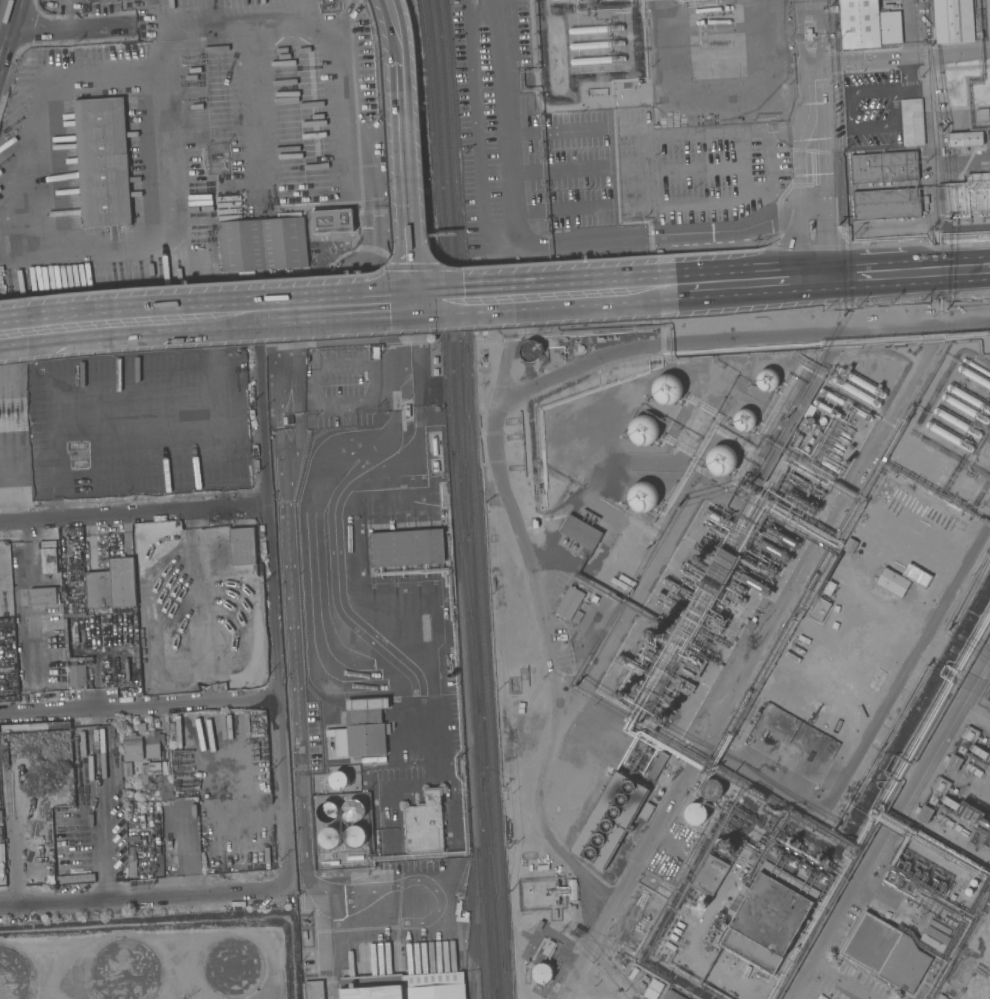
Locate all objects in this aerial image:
building: (610, 0)
building: (107, 1)
road: (1, 5)
building: (953, 21)
building: (867, 24)
road: (150, 25)
building: (595, 29)
road: (907, 29)
road: (801, 32)
road: (820, 32)
building: (808, 34)
building: (596, 44)
road: (397, 54)
road: (900, 58)
building: (597, 60)
road: (352, 83)
road: (812, 84)
road: (251, 97)
building: (99, 105)
building: (982, 114)
road: (497, 118)
building: (911, 122)
building: (965, 139)
building: (883, 167)
building: (103, 169)
road: (832, 190)
road: (799, 191)
building: (969, 195)
building: (886, 203)
road: (409, 208)
building: (331, 219)
road: (674, 234)
building: (261, 244)
road: (63, 252)
road: (831, 277)
road: (545, 297)
traffic signals: (416, 306)
road: (292, 311)
road: (84, 326)
building: (579, 348)
building: (529, 351)
road: (216, 358)
building: (518, 368)
building: (973, 372)
building: (766, 379)
building: (859, 387)
building: (666, 389)
building: (831, 396)
building: (965, 403)
building: (826, 408)
building: (808, 412)
building: (860, 412)
building: (437, 415)
building: (744, 420)
building: (821, 420)
building: (811, 421)
building: (413, 422)
building: (848, 428)
building: (953, 429)
building: (643, 430)
building: (816, 430)
building: (845, 435)
building: (843, 439)
railway: (467, 440)
building: (810, 440)
building: (796, 442)
building: (434, 446)
building: (839, 446)
building: (805, 449)
building: (836, 450)
building: (834, 455)
building: (841, 457)
building: (720, 459)
building: (845, 462)
building: (435, 466)
building: (829, 466)
building: (797, 478)
railway: (457, 490)
railway: (466, 495)
building: (641, 496)
railway: (475, 499)
building: (801, 502)
road: (135, 512)
building: (717, 517)
building: (580, 532)
building: (781, 536)
building: (925, 544)
building: (850, 545)
building: (242, 546)
building: (407, 548)
building: (773, 550)
building: (73, 552)
building: (698, 559)
building: (766, 568)
building: (720, 569)
building: (46, 575)
building: (496, 578)
railway: (467, 581)
building: (892, 582)
building: (754, 584)
building: (736, 586)
building: (104, 587)
building: (828, 587)
road: (196, 591)
building: (732, 597)
road: (273, 600)
building: (568, 603)
building: (819, 609)
building: (749, 624)
building: (657, 632)
building: (691, 664)
building: (629, 665)
building: (77, 675)
building: (11, 679)
road: (94, 679)
building: (621, 693)
road: (138, 702)
building: (662, 716)
building: (362, 729)
building: (153, 743)
building: (133, 745)
building: (961, 748)
building: (353, 765)
building: (657, 766)
building: (126, 769)
building: (711, 789)
building: (932, 799)
building: (128, 808)
building: (354, 810)
storage tank: (354, 810)
road: (217, 811)
building: (327, 811)
storage tank: (327, 811)
building: (645, 811)
building: (697, 814)
road: (97, 818)
building: (609, 819)
building: (984, 822)
building: (424, 824)
building: (964, 832)
building: (355, 836)
storage tank: (355, 836)
building: (329, 838)
storage tank: (329, 838)
road: (181, 839)
building: (792, 842)
building: (724, 847)
building: (354, 857)
building: (49, 858)
building: (822, 859)
building: (132, 861)
building: (329, 863)
railway: (495, 872)
building: (709, 875)
building: (43, 876)
building: (29, 877)
building: (973, 882)
building: (735, 885)
building: (572, 890)
building: (968, 891)
road: (143, 903)
building: (701, 904)
building: (769, 917)
railway: (479, 924)
building: (935, 936)
building: (886, 952)
building: (233, 966)
building: (127, 971)
building: (543, 973)
building: (13, 975)
building: (404, 986)
building: (313, 989)
building: (653, 989)
railway: (488, 990)
railway: (497, 995)
railway: (497, 995)
building: (672, 995)

